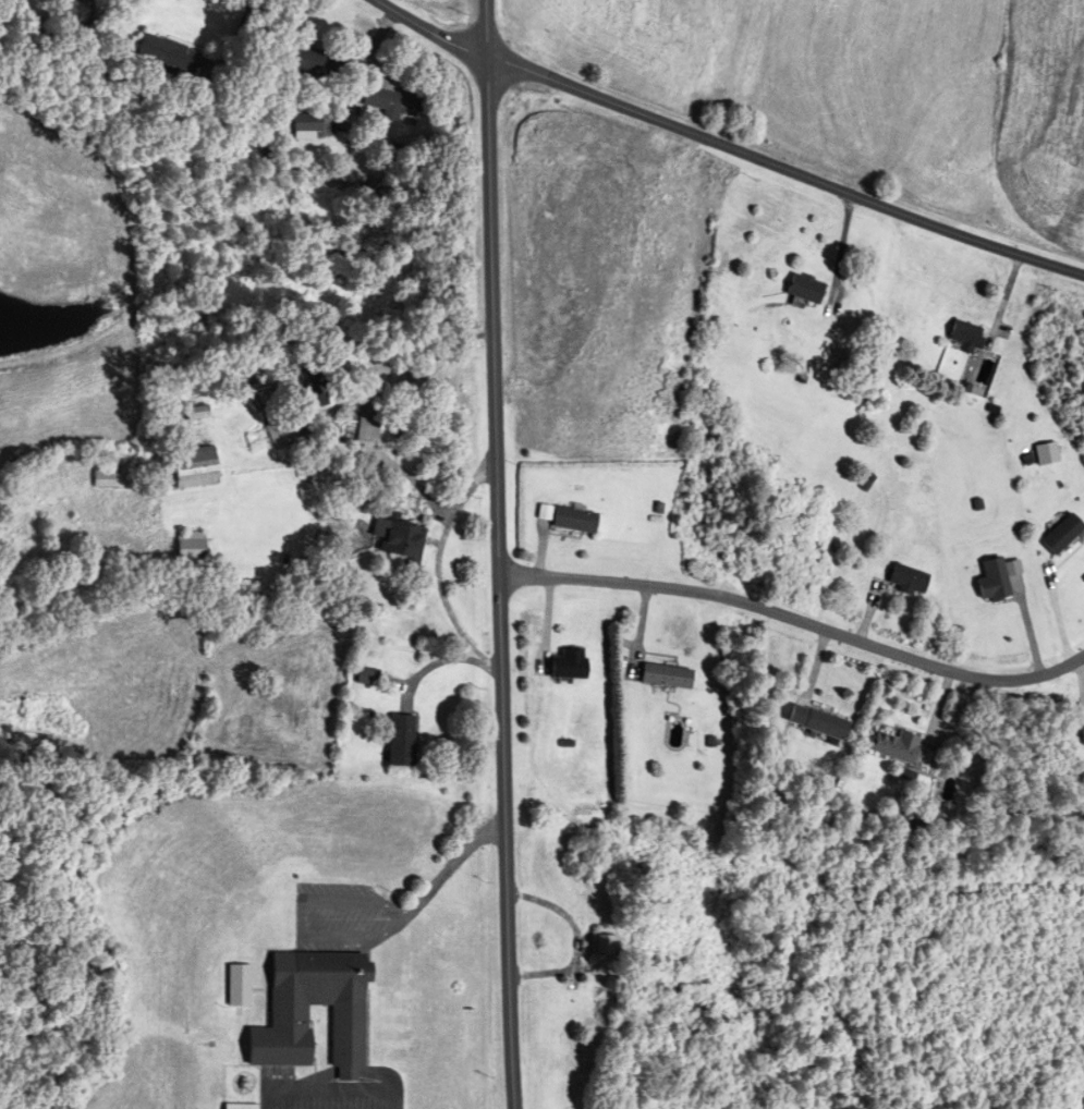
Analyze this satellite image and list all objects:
road: (235, 40)
building: (169, 56)
building: (313, 62)
road: (361, 65)
building: (395, 103)
building: (308, 123)
road: (723, 149)
crop: (597, 243)
building: (801, 289)
building: (961, 336)
building: (316, 387)
building: (198, 414)
building: (369, 428)
building: (197, 468)
building: (106, 477)
building: (576, 520)
building: (1058, 534)
building: (403, 539)
building: (192, 546)
road: (497, 554)
road: (435, 565)
building: (904, 580)
building: (989, 581)
road: (795, 619)
building: (572, 665)
road: (435, 666)
building: (368, 677)
building: (662, 677)
building: (820, 724)
building: (1080, 734)
building: (402, 741)
building: (893, 747)
building: (975, 768)
road: (451, 864)
road: (301, 918)
building: (599, 946)
building: (292, 1017)
road: (331, 1089)

